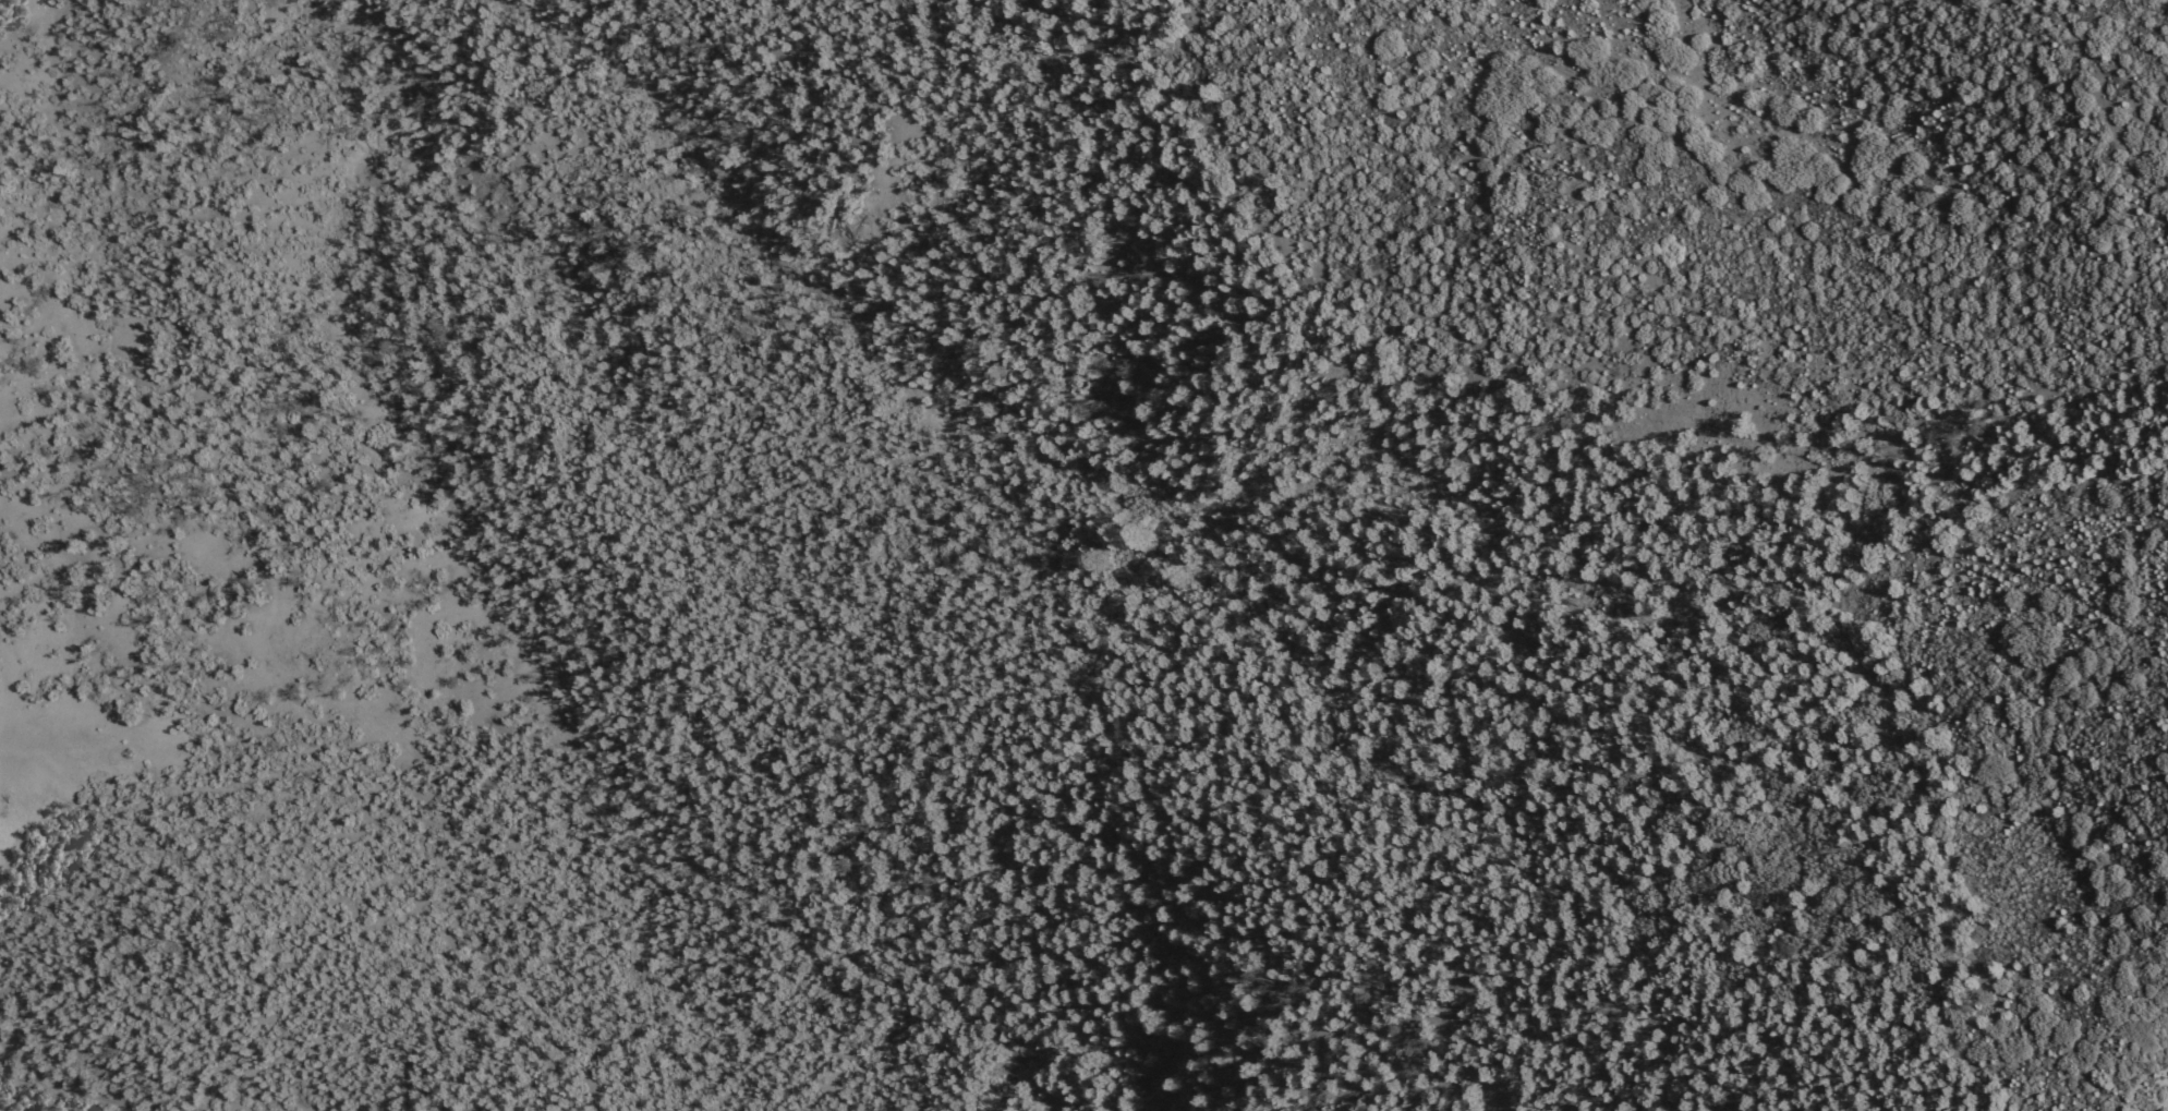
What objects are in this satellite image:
road: (60, 1088)

